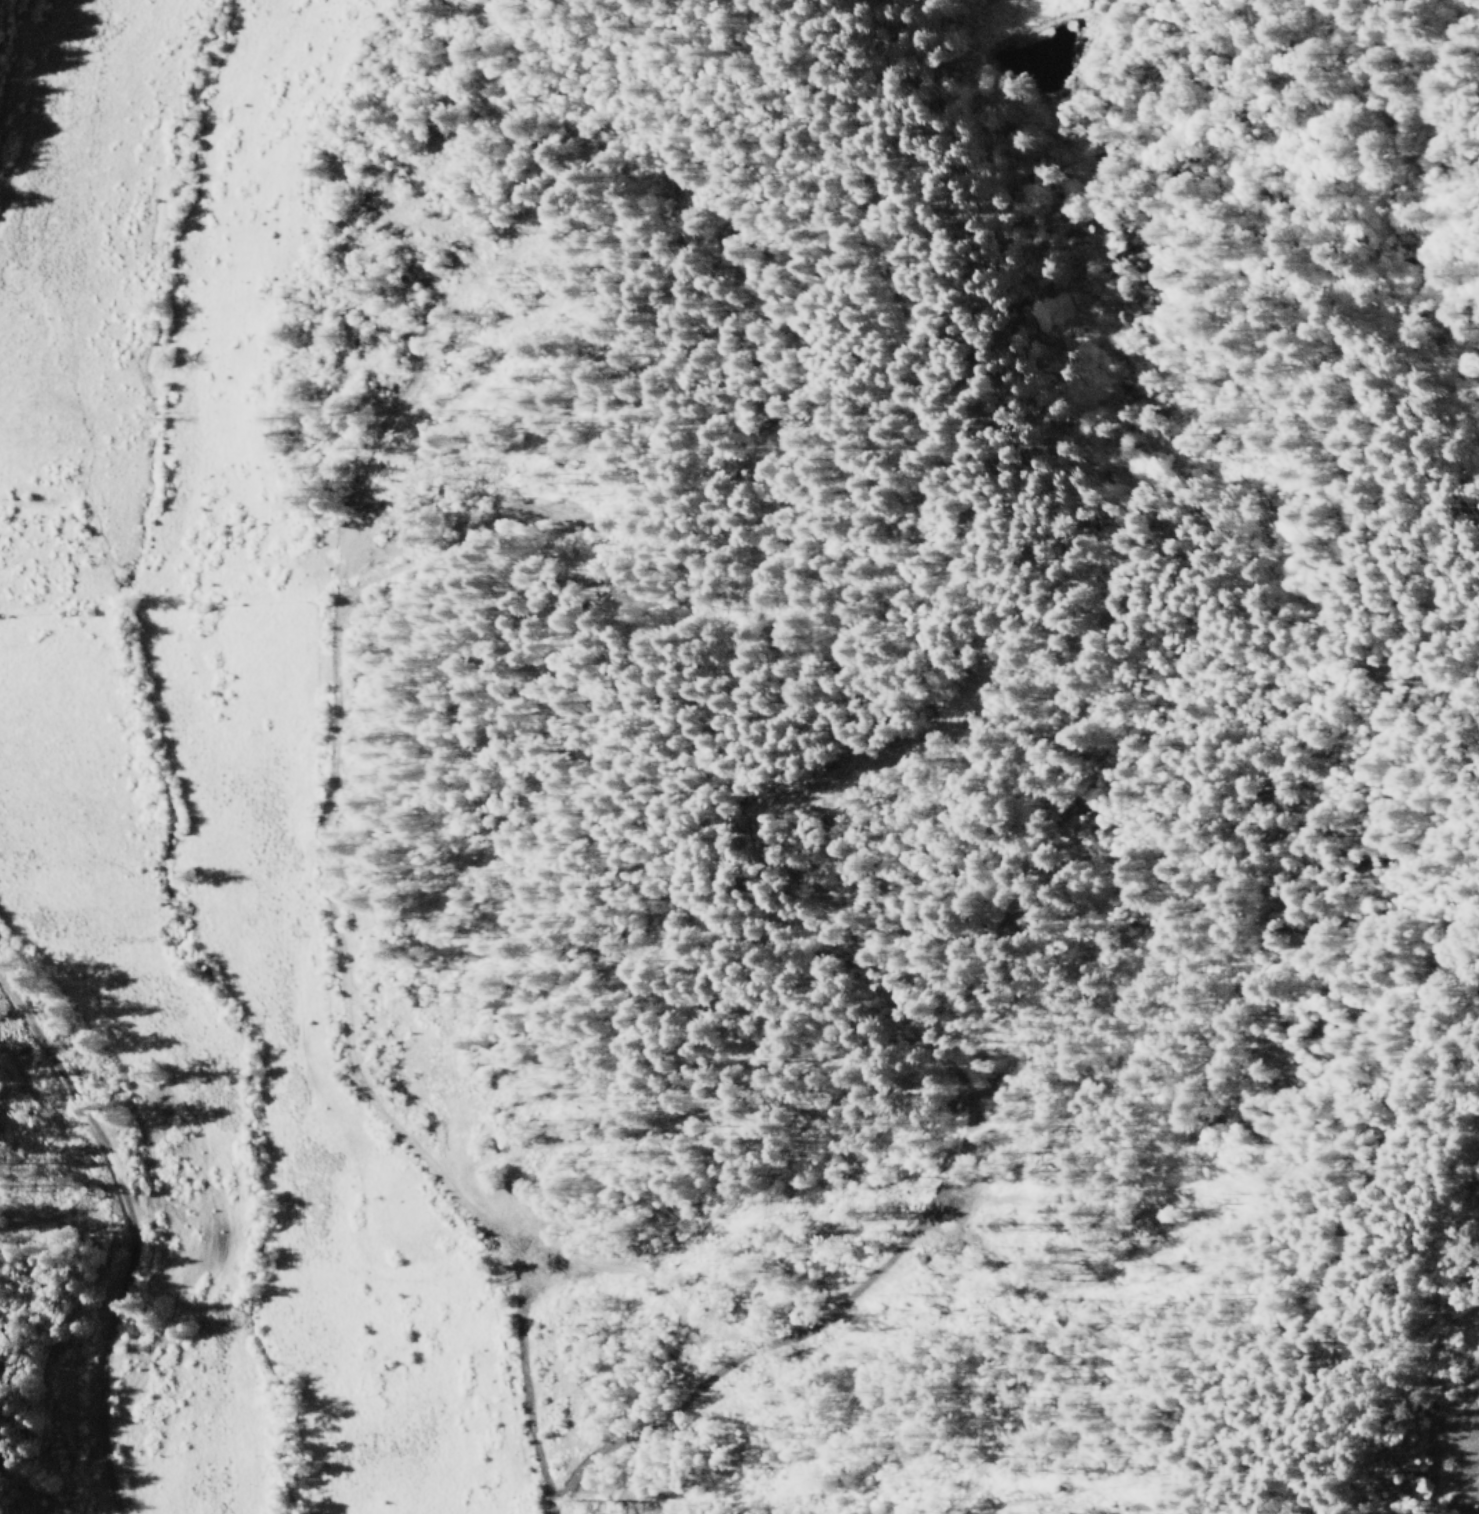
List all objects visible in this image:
road: (9, 76)
road: (140, 1228)

